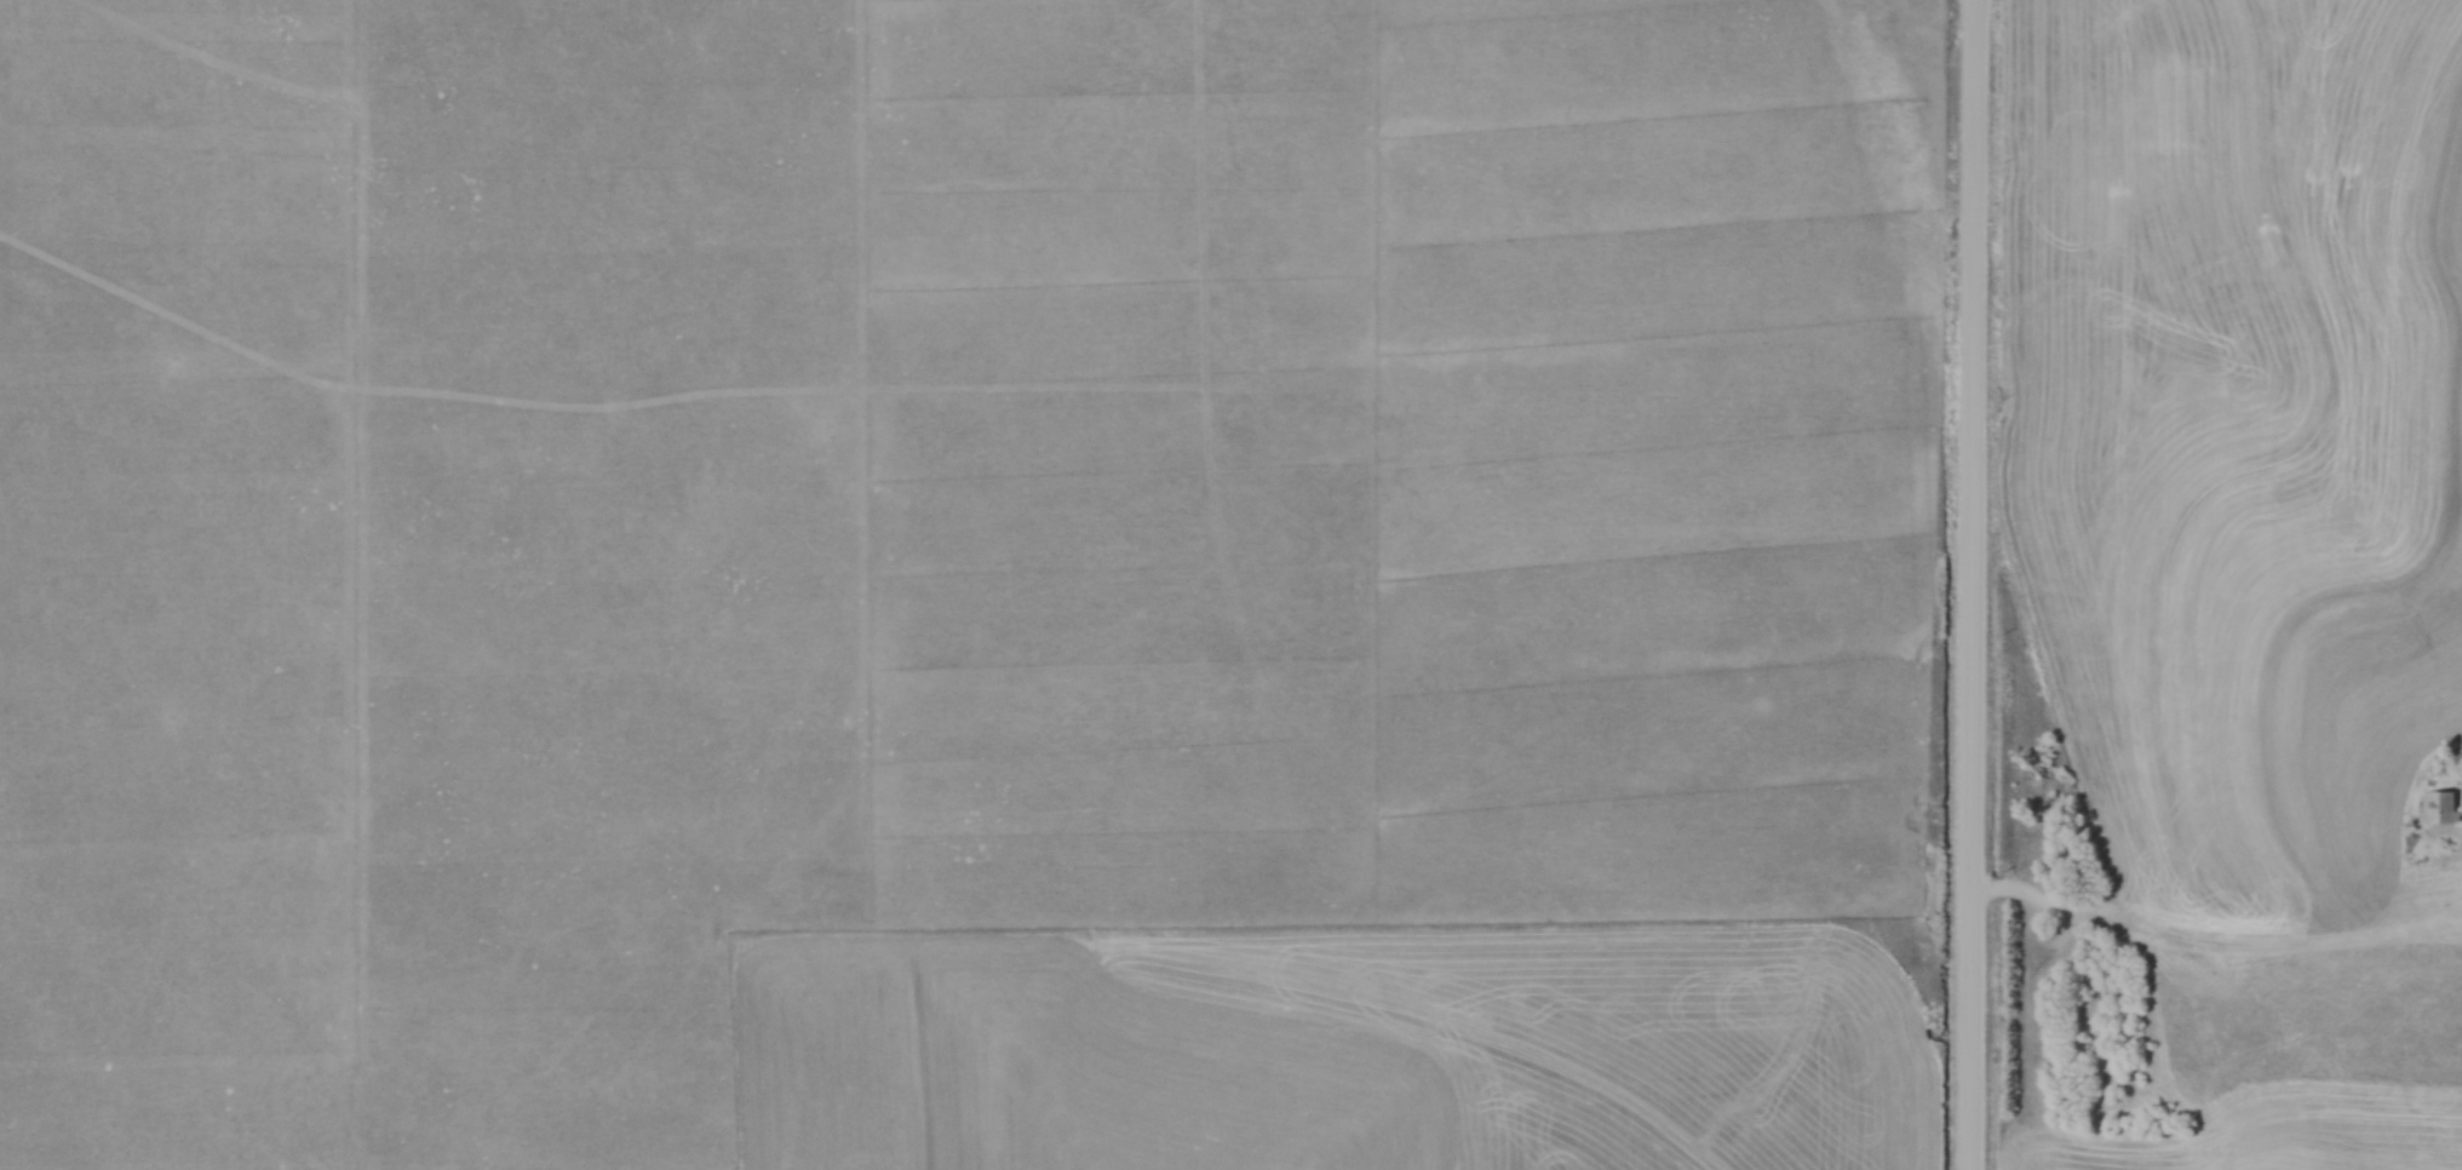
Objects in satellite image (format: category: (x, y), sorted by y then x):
road: (1976, 584)
building: (2440, 805)
road: (2215, 927)

